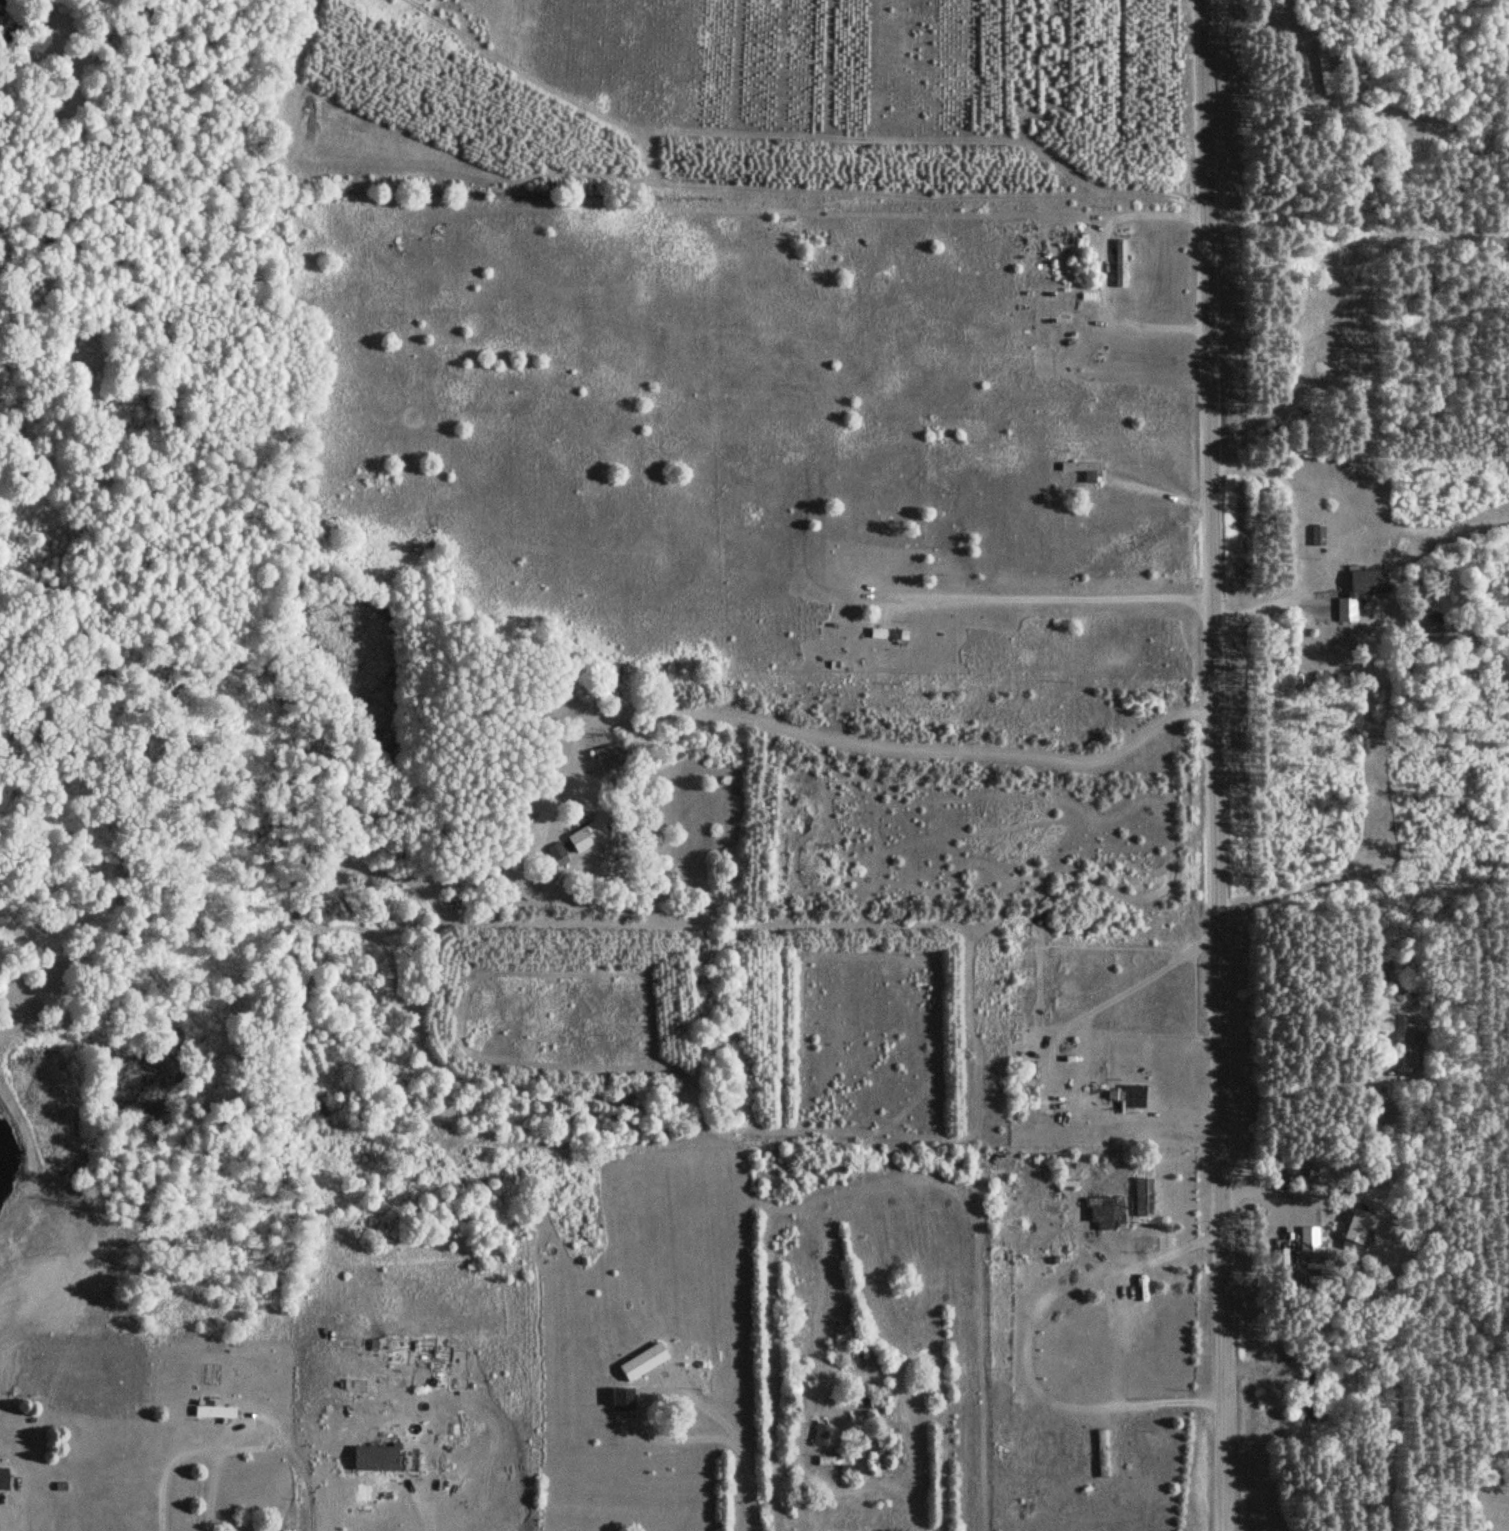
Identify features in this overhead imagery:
building: (1298, 131)
building: (1118, 264)
building: (1081, 471)
building: (750, 512)
building: (1315, 535)
road: (1296, 544)
building: (1357, 591)
road: (1057, 596)
building: (885, 634)
road: (853, 741)
building: (608, 755)
road: (1211, 765)
building: (583, 835)
building: (1406, 1043)
building: (1420, 1046)
building: (1131, 1095)
building: (1141, 1195)
road: (1030, 1343)
building: (853, 1355)
building: (639, 1359)
building: (1309, 1394)
building: (619, 1399)
building: (211, 1412)
building: (822, 1447)
building: (1108, 1454)
building: (372, 1462)
building: (3, 1479)

